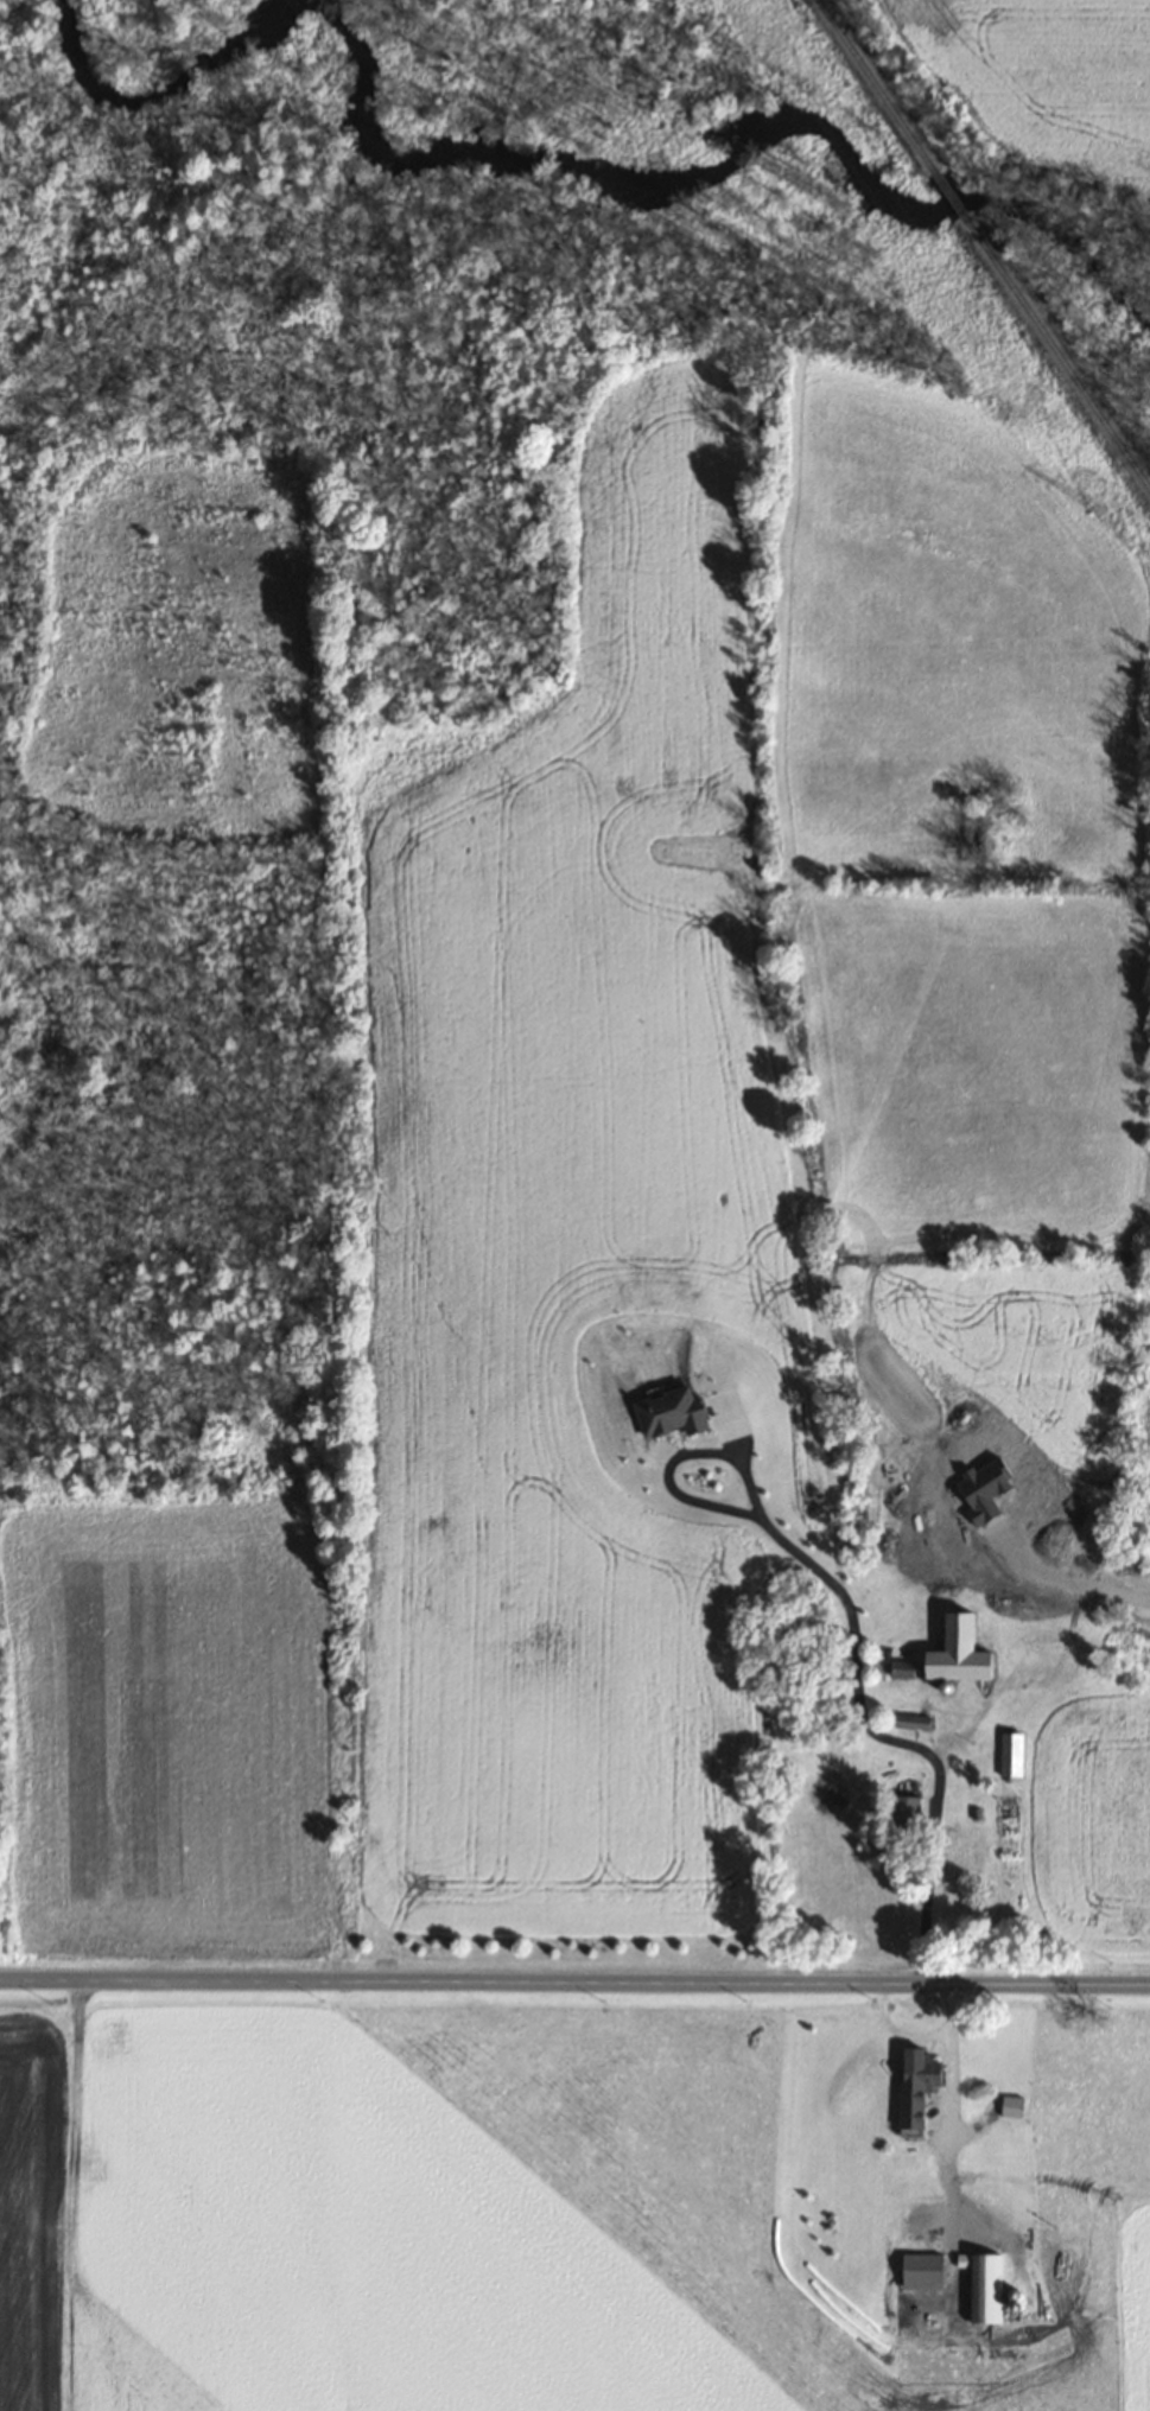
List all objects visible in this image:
river: (155, 82)
railway: (873, 84)
river: (741, 140)
railway: (946, 192)
railway: (1055, 354)
road: (1073, 1582)
road: (852, 1624)
building: (957, 1654)
building: (1009, 1754)
building: (902, 1811)
building: (954, 1853)
road: (574, 1981)
road: (898, 2030)
building: (913, 2084)
building: (1010, 2105)
road: (948, 2114)
building: (919, 2271)
building: (981, 2285)

